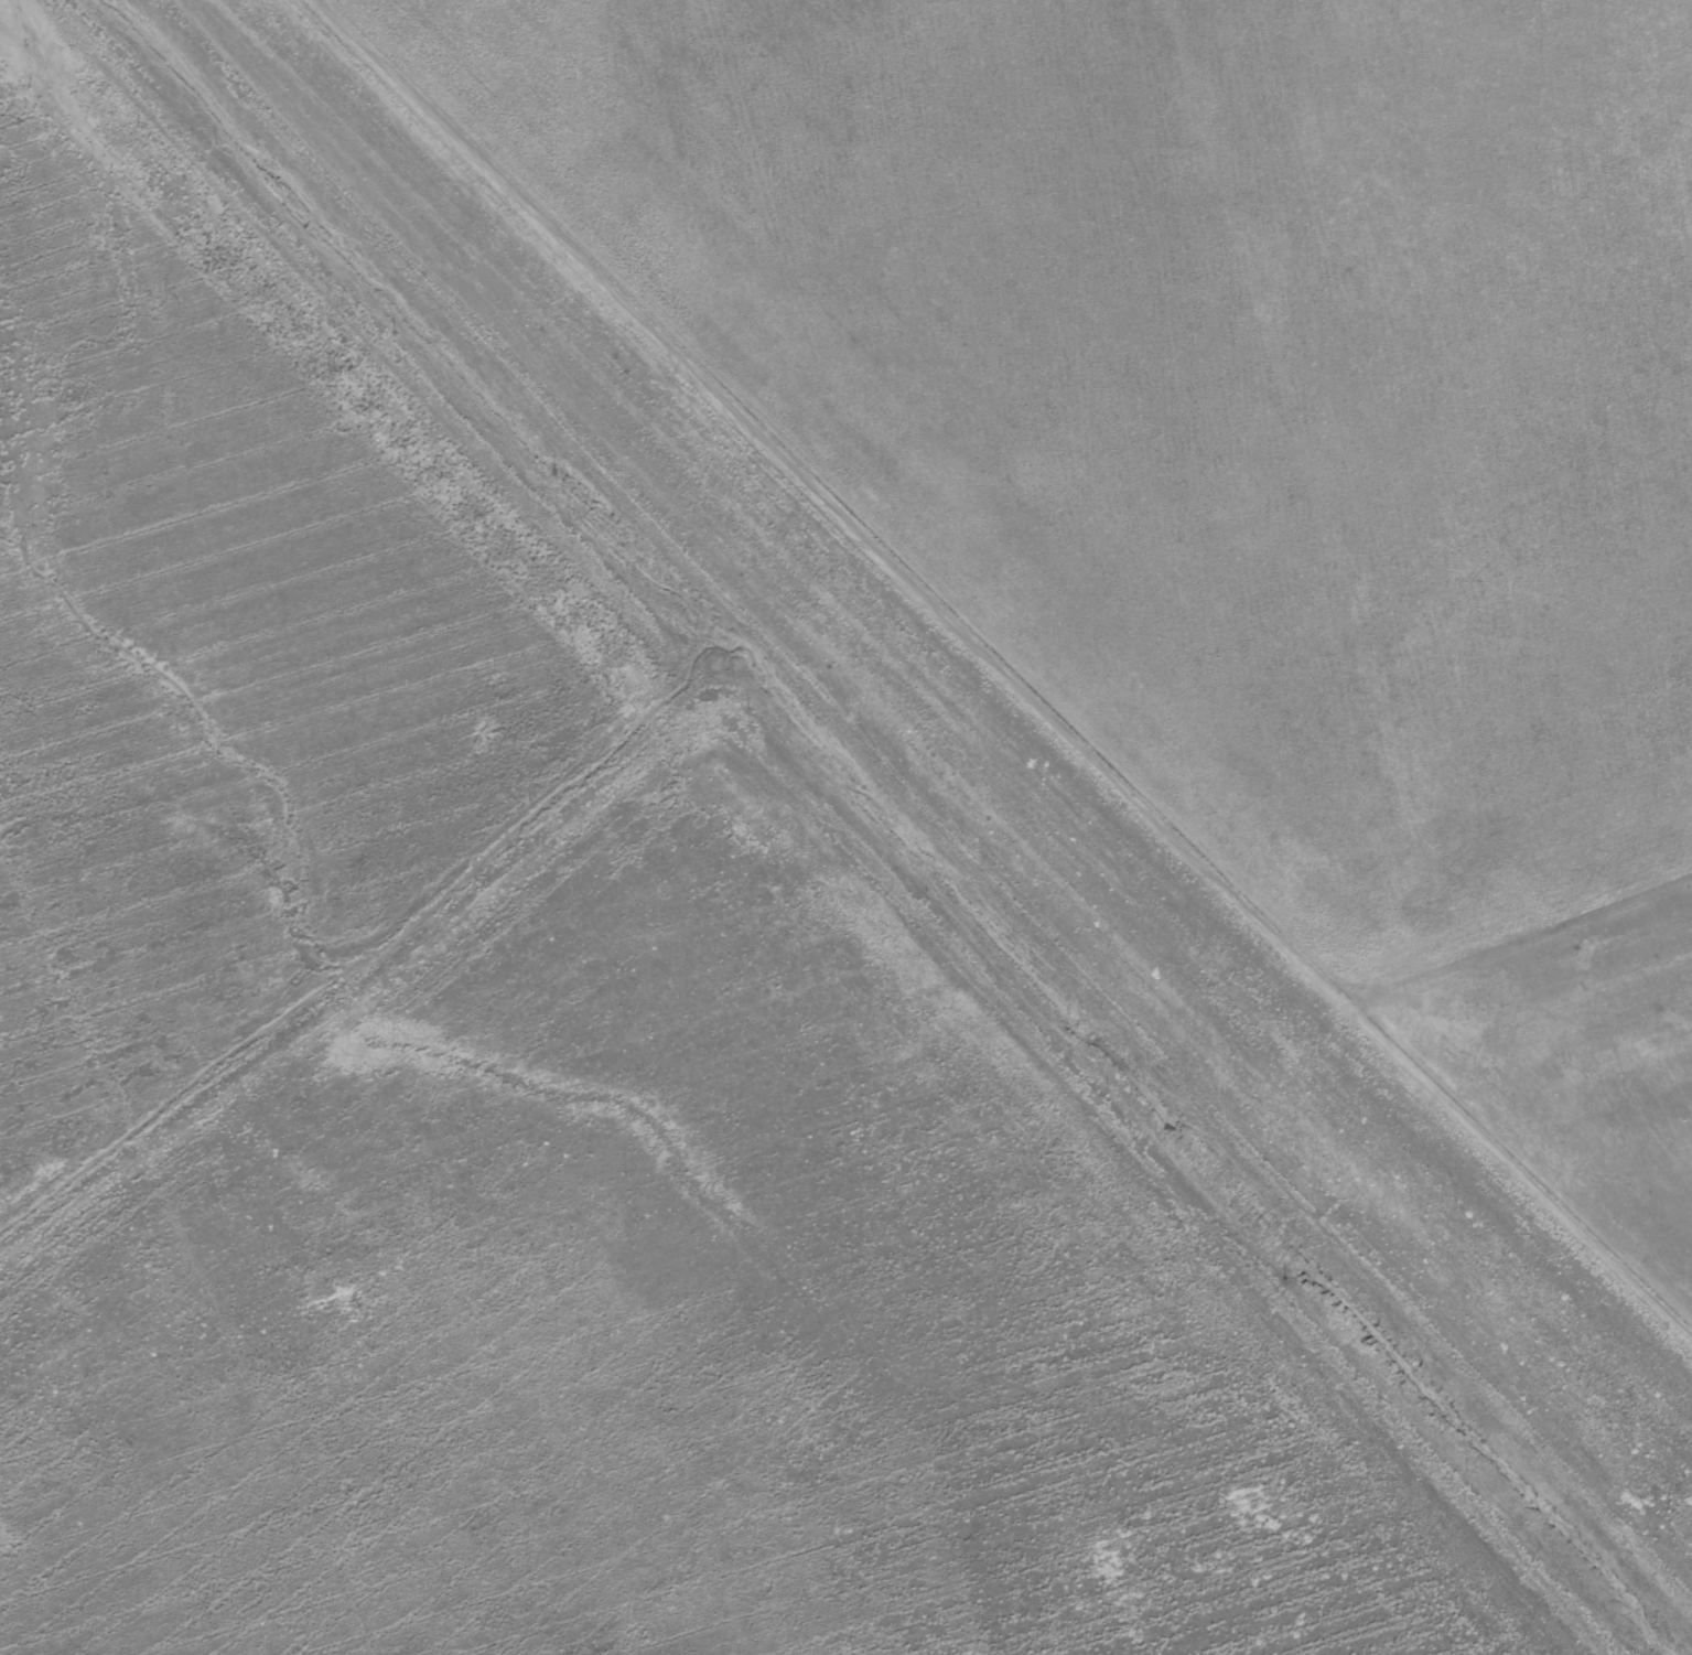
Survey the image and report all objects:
road: (953, 721)

